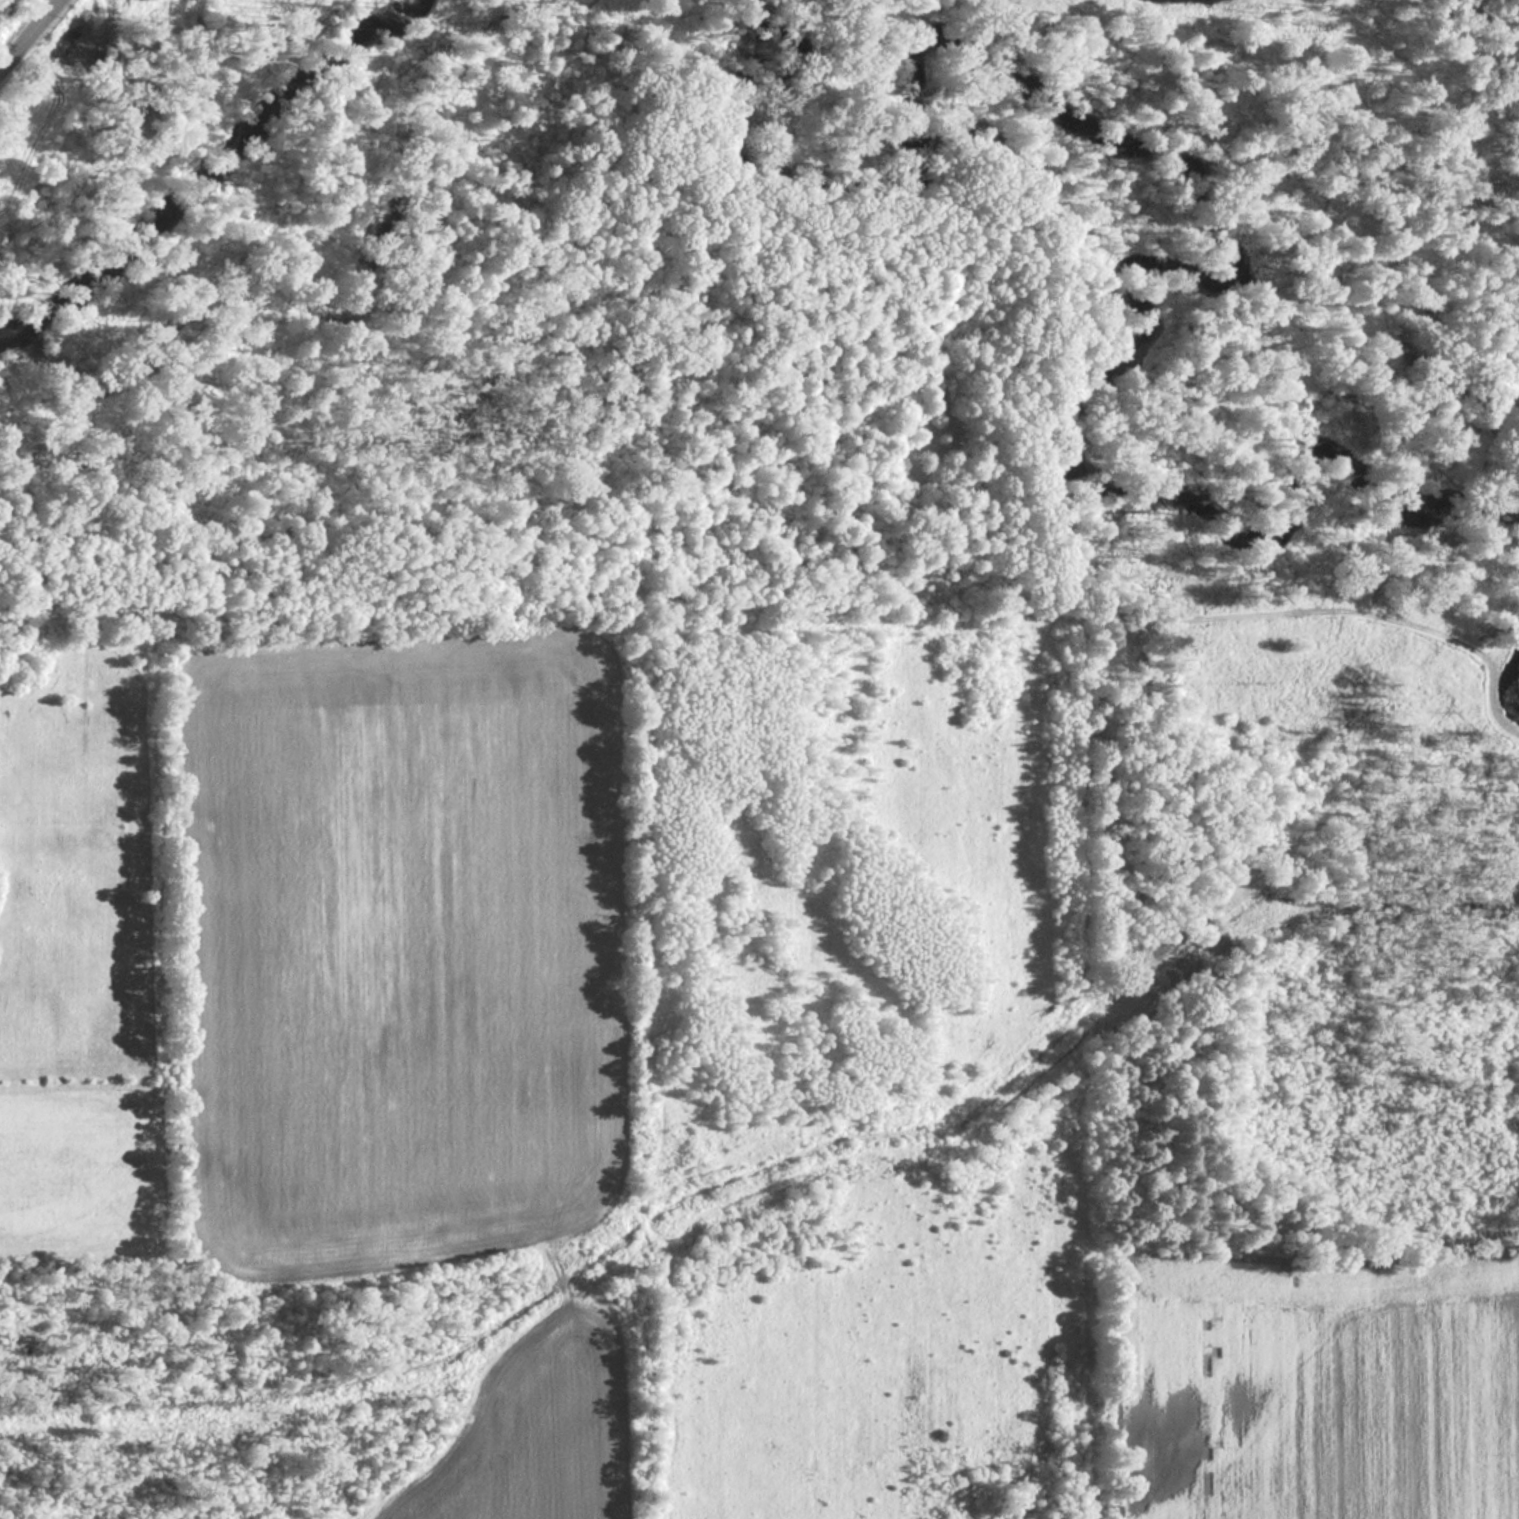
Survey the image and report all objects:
road: (24, 29)
river: (210, 172)
river: (1232, 248)

